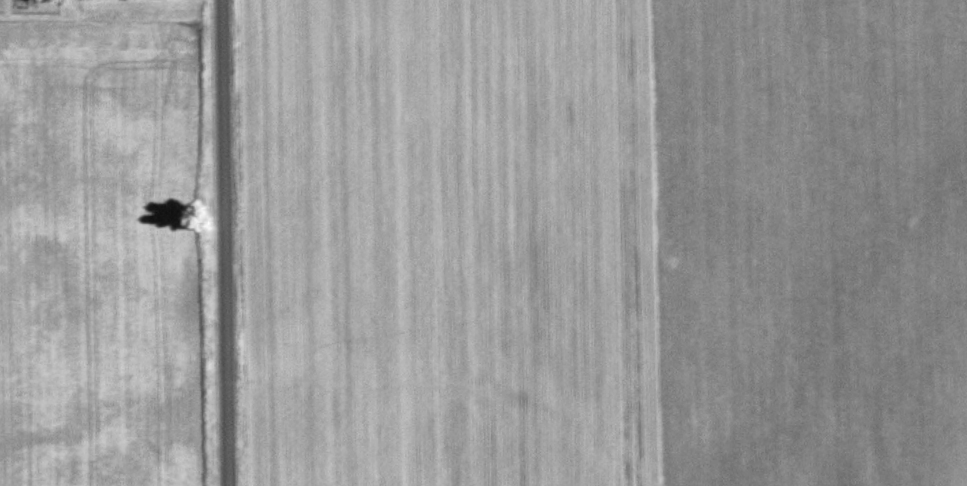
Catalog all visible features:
building: (37, 7)
road: (224, 243)

